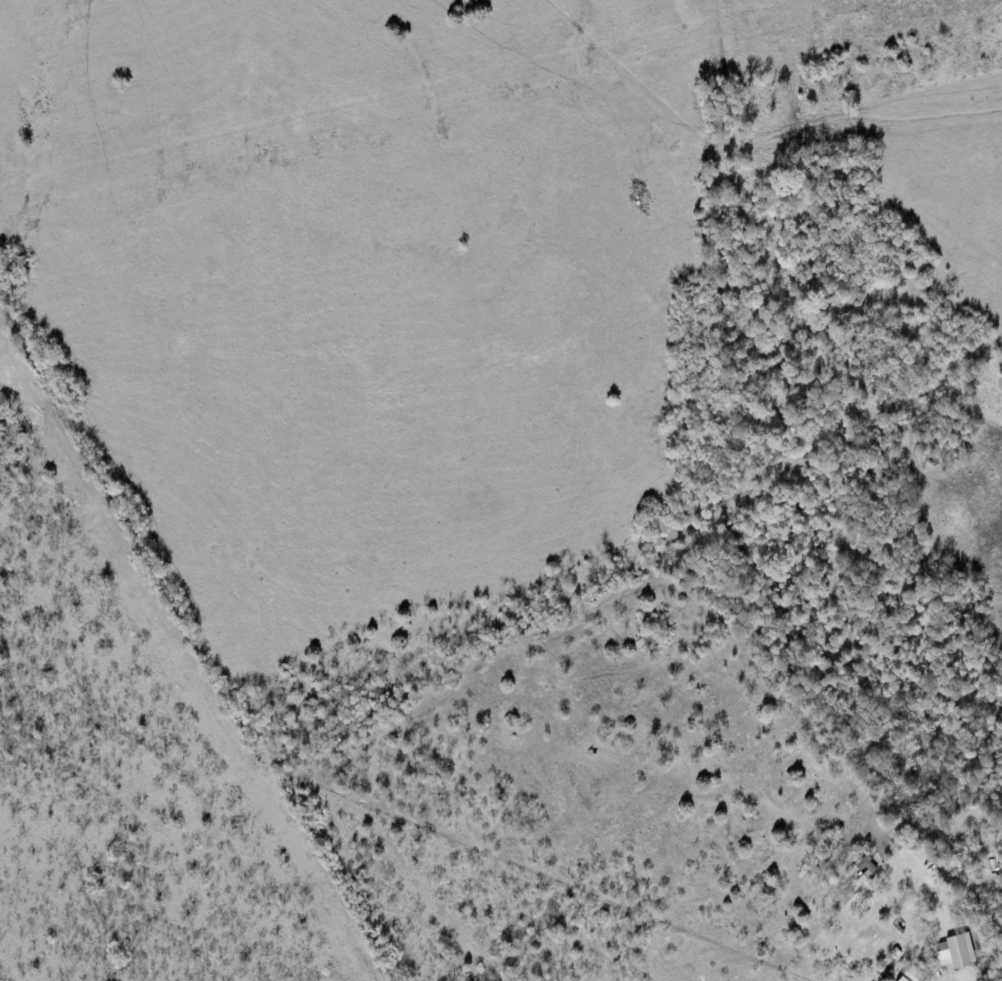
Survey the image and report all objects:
building: (867, 869)
building: (956, 952)
building: (914, 974)

